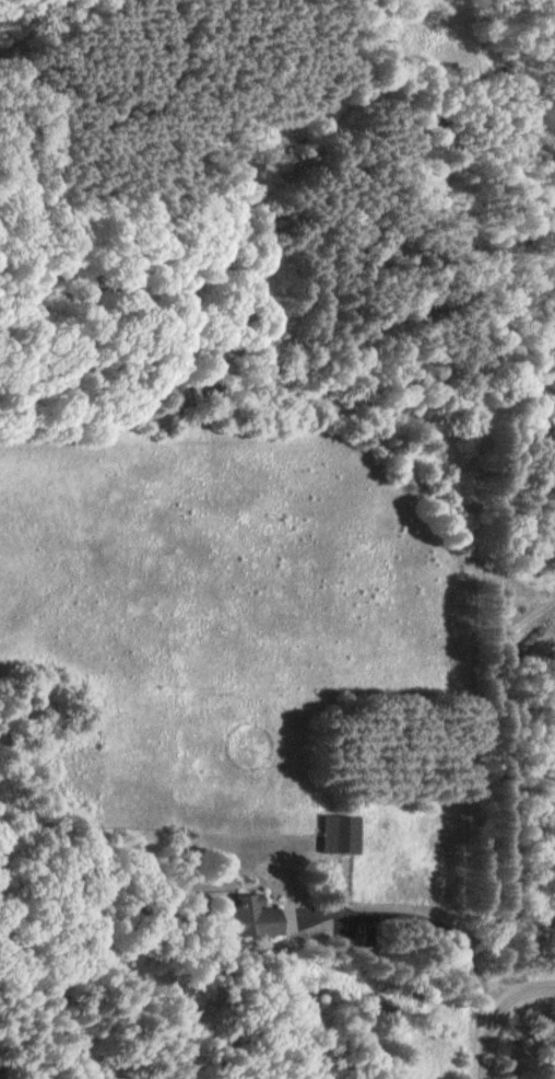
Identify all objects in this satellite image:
road: (59, 32)
road: (303, 392)
road: (501, 804)
building: (340, 833)
building: (246, 916)
road: (524, 991)
road: (483, 1040)

